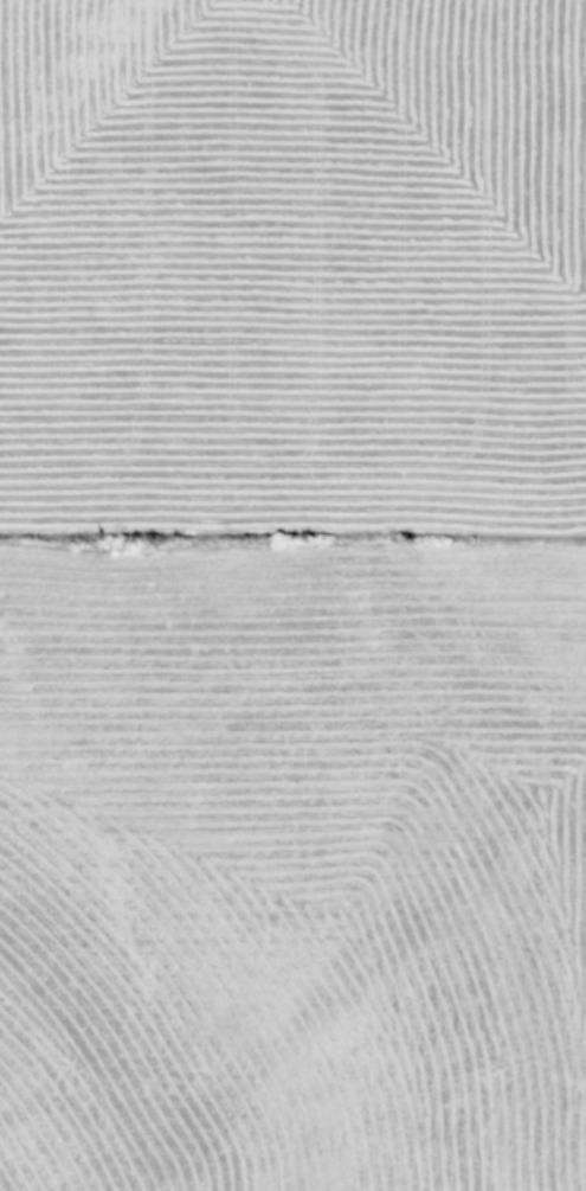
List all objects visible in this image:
crop: (292, 595)

